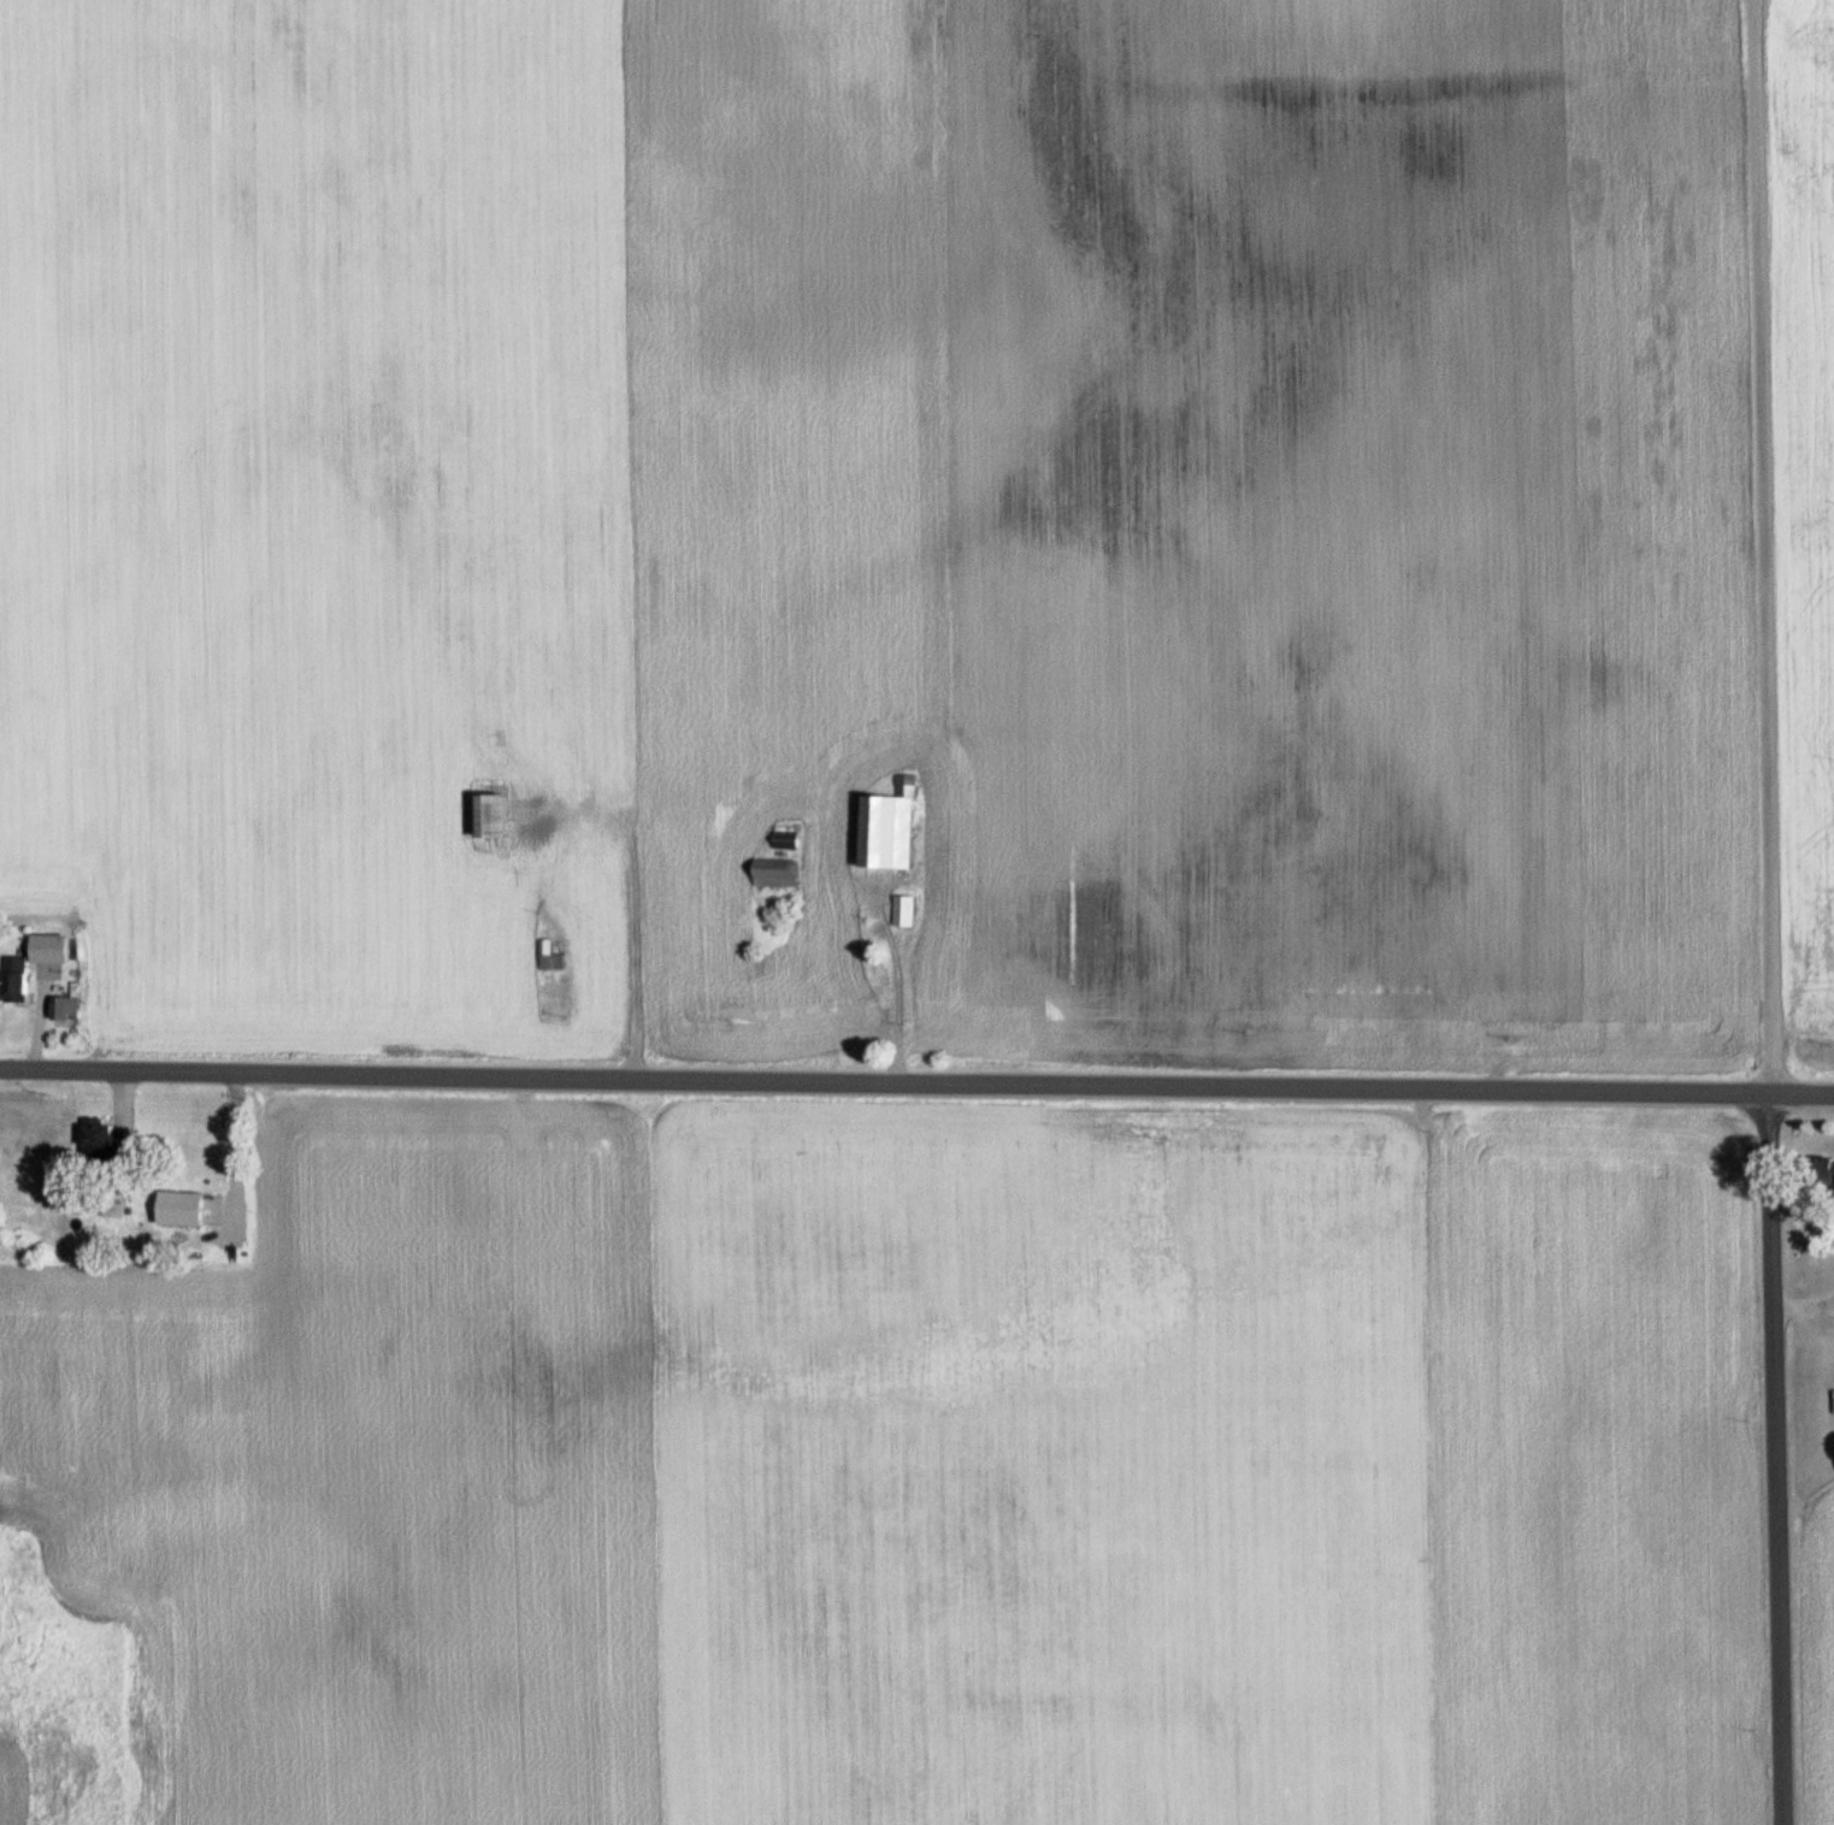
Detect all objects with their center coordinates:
road: (1764, 547)
building: (886, 828)
building: (786, 839)
building: (773, 874)
building: (901, 911)
building: (547, 956)
building: (22, 978)
road: (894, 987)
building: (72, 1008)
road: (884, 1081)
road: (1801, 1093)
building: (106, 1144)
building: (1818, 1171)
road: (1776, 1459)

